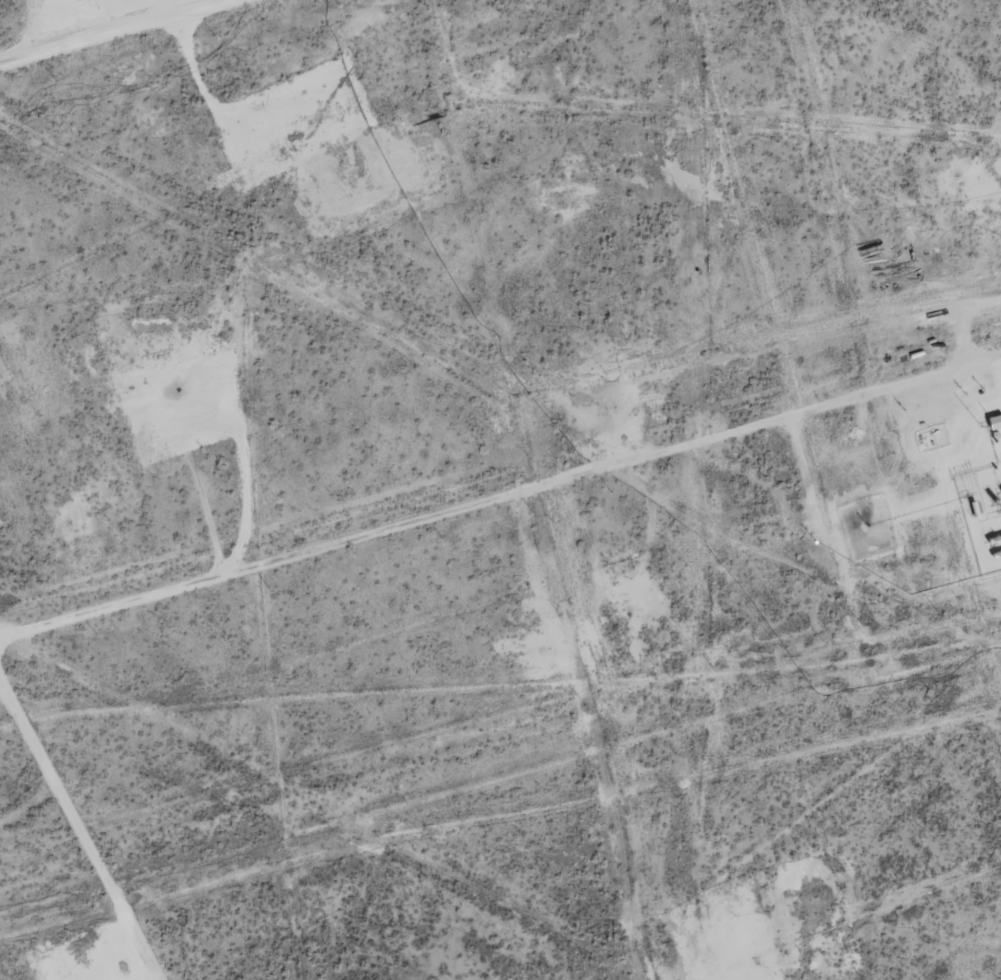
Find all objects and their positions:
road: (190, 54)
road: (51, 886)

